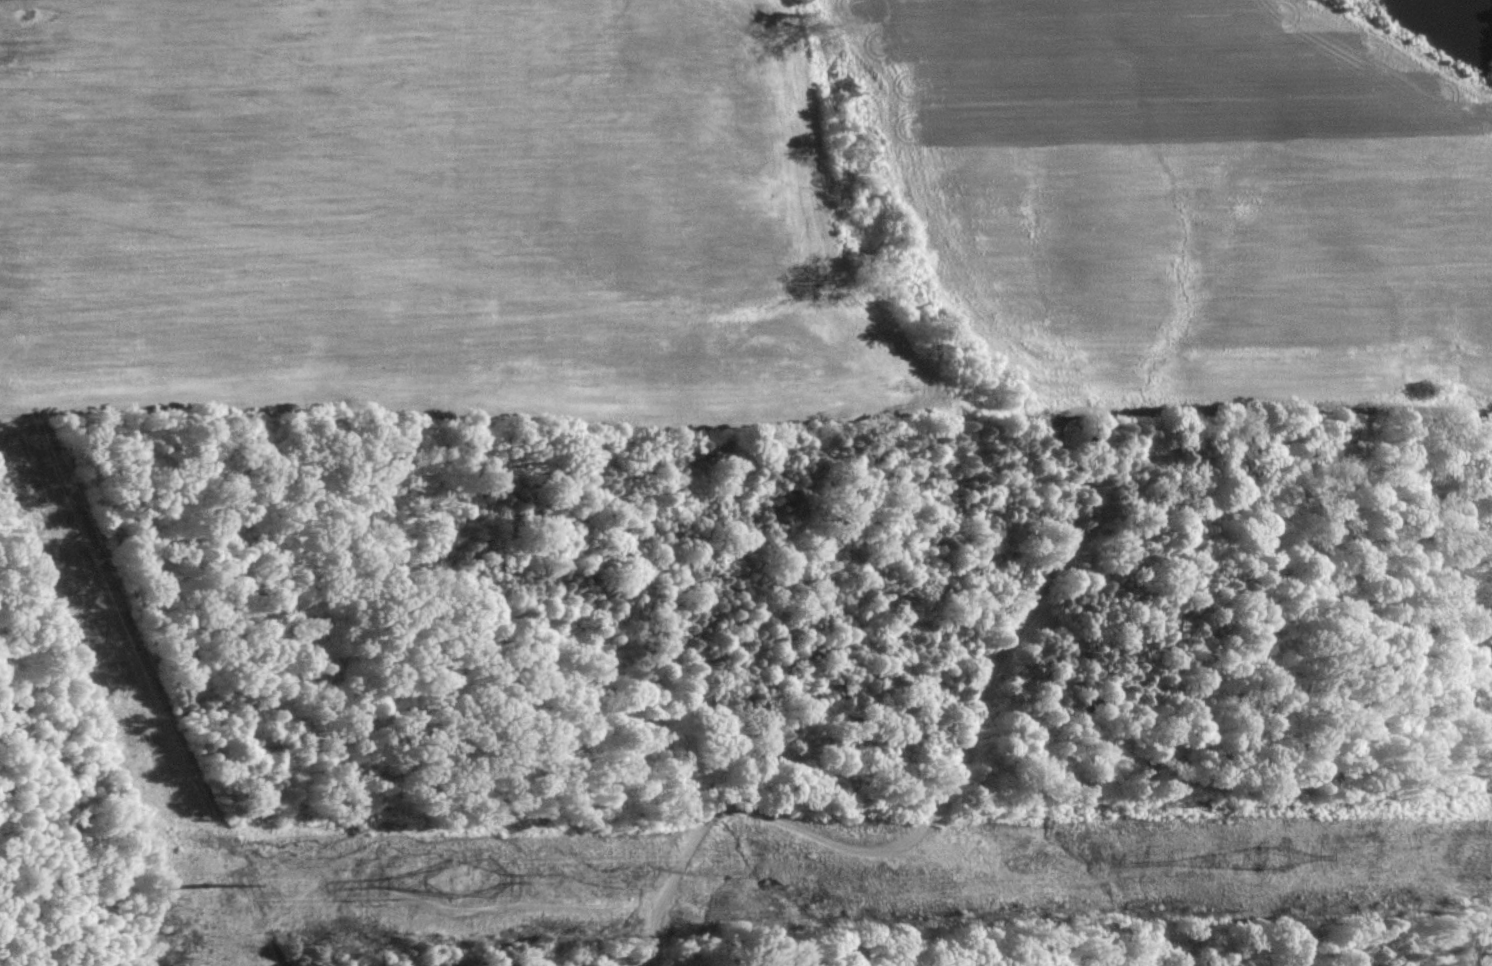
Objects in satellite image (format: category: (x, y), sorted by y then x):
road: (1038, 582)
power tower: (1269, 855)
power tower: (467, 874)
power tower: (204, 886)

